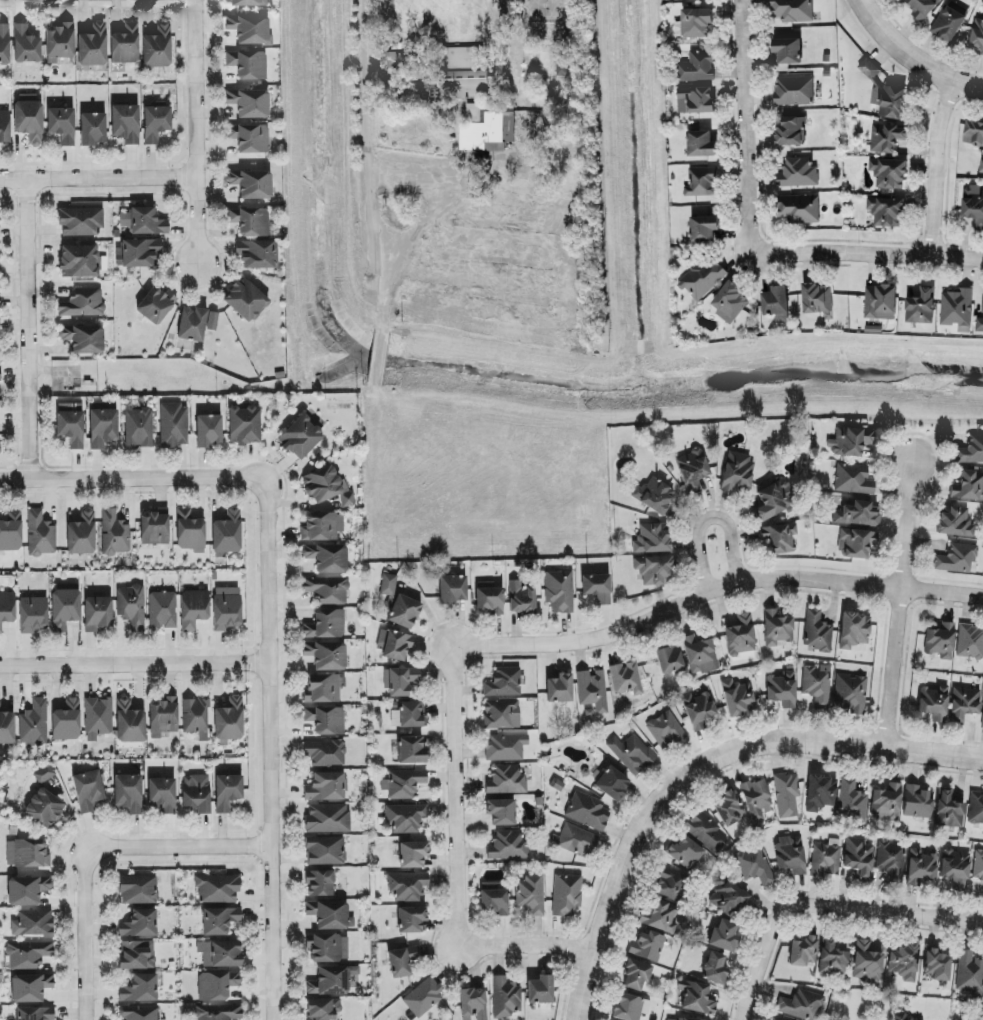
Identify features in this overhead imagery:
building: (246, 3)
building: (921, 7)
building: (792, 9)
building: (693, 21)
building: (947, 21)
building: (250, 29)
building: (976, 33)
building: (59, 42)
building: (4, 44)
building: (26, 45)
building: (125, 45)
building: (93, 46)
building: (157, 48)
building: (786, 48)
building: (463, 56)
building: (388, 57)
road: (910, 58)
building: (561, 59)
building: (697, 64)
building: (248, 65)
building: (867, 66)
building: (466, 82)
building: (793, 88)
building: (694, 97)
building: (891, 100)
building: (249, 103)
building: (29, 119)
building: (126, 124)
building: (156, 124)
building: (62, 126)
building: (5, 127)
road: (744, 127)
building: (92, 129)
building: (790, 129)
building: (487, 130)
building: (973, 131)
road: (196, 134)
building: (886, 135)
building: (251, 139)
building: (700, 141)
road: (367, 147)
building: (981, 165)
road: (936, 167)
building: (797, 170)
building: (888, 171)
building: (701, 179)
road: (98, 183)
building: (252, 184)
building: (973, 203)
building: (798, 206)
building: (886, 209)
building: (143, 221)
building: (250, 221)
building: (81, 222)
building: (703, 226)
road: (869, 252)
building: (140, 253)
building: (255, 255)
building: (79, 262)
building: (702, 276)
building: (815, 295)
building: (729, 299)
building: (245, 300)
building: (879, 300)
building: (981, 300)
building: (775, 301)
building: (83, 303)
building: (155, 305)
building: (919, 305)
building: (956, 307)
building: (979, 322)
building: (196, 324)
road: (29, 332)
building: (84, 339)
building: (0, 399)
building: (71, 424)
building: (173, 426)
building: (244, 426)
building: (138, 428)
building: (209, 431)
building: (301, 437)
building: (850, 441)
building: (971, 450)
building: (692, 471)
building: (737, 471)
road: (131, 479)
building: (853, 479)
building: (968, 486)
building: (326, 487)
building: (656, 497)
building: (774, 500)
building: (858, 514)
road: (709, 520)
building: (954, 522)
building: (322, 527)
building: (154, 529)
building: (190, 531)
building: (11, 532)
building: (114, 534)
building: (227, 534)
building: (40, 535)
building: (82, 535)
building: (779, 538)
building: (652, 539)
building: (856, 543)
building: (327, 558)
building: (956, 558)
building: (654, 570)
building: (388, 585)
building: (597, 588)
building: (453, 590)
road: (712, 590)
building: (327, 591)
building: (559, 591)
building: (488, 598)
building: (521, 599)
building: (132, 607)
road: (898, 608)
building: (7, 609)
building: (65, 609)
building: (193, 609)
building: (226, 609)
building: (162, 611)
building: (403, 611)
building: (98, 613)
building: (33, 614)
building: (325, 625)
building: (776, 628)
building: (853, 630)
building: (817, 632)
building: (740, 636)
building: (940, 642)
building: (970, 642)
building: (395, 645)
building: (326, 655)
building: (699, 655)
building: (669, 659)
road: (134, 667)
building: (625, 679)
building: (399, 681)
building: (504, 683)
building: (817, 685)
building: (324, 688)
building: (559, 689)
building: (782, 689)
building: (593, 691)
building: (850, 694)
building: (737, 698)
building: (933, 703)
building: (964, 704)
building: (698, 710)
building: (501, 714)
building: (407, 715)
building: (163, 717)
building: (196, 717)
building: (98, 718)
building: (325, 720)
building: (67, 721)
building: (229, 721)
building: (130, 723)
building: (982, 723)
building: (34, 724)
building: (7, 728)
building: (665, 730)
building: (506, 747)
road: (268, 750)
building: (411, 750)
building: (632, 753)
building: (324, 754)
road: (699, 769)
building: (506, 779)
building: (403, 782)
building: (612, 784)
building: (325, 787)
building: (88, 790)
building: (227, 792)
building: (128, 794)
building: (196, 794)
building: (821, 794)
building: (162, 795)
building: (787, 795)
building: (756, 799)
building: (45, 801)
building: (852, 801)
building: (886, 803)
building: (917, 803)
building: (728, 808)
building: (501, 809)
building: (976, 809)
building: (948, 810)
building: (588, 813)
building: (405, 816)
building: (327, 817)
building: (706, 833)
building: (576, 841)
building: (507, 844)
road: (176, 849)
building: (325, 849)
building: (412, 852)
building: (685, 852)
building: (27, 854)
building: (790, 855)
building: (858, 858)
building: (825, 860)
building: (891, 862)
road: (456, 865)
building: (754, 866)
building: (978, 867)
building: (920, 868)
building: (955, 869)
building: (320, 883)
building: (670, 884)
building: (407, 885)
building: (217, 889)
building: (26, 890)
building: (138, 890)
building: (531, 893)
building: (566, 895)
building: (727, 898)
building: (494, 899)
road: (826, 911)
building: (328, 915)
building: (410, 916)
building: (660, 917)
building: (219, 921)
building: (33, 923)
building: (139, 924)
road: (84, 935)
building: (725, 936)
building: (647, 946)
building: (328, 948)
building: (804, 951)
building: (222, 954)
building: (28, 955)
building: (135, 956)
building: (400, 959)
building: (832, 959)
building: (903, 961)
building: (867, 962)
building: (936, 965)
building: (715, 969)
building: (969, 974)
building: (636, 975)
building: (329, 981)
building: (217, 985)
building: (30, 987)
building: (140, 989)
building: (540, 990)
building: (423, 997)
building: (505, 998)
building: (696, 998)
building: (473, 1004)
building: (801, 1005)
building: (630, 1008)
building: (322, 1009)
building: (982, 1011)
building: (35, 1012)
building: (219, 1012)
building: (138, 1013)
building: (900, 1016)
building: (675, 1019)
building: (919, 1019)

